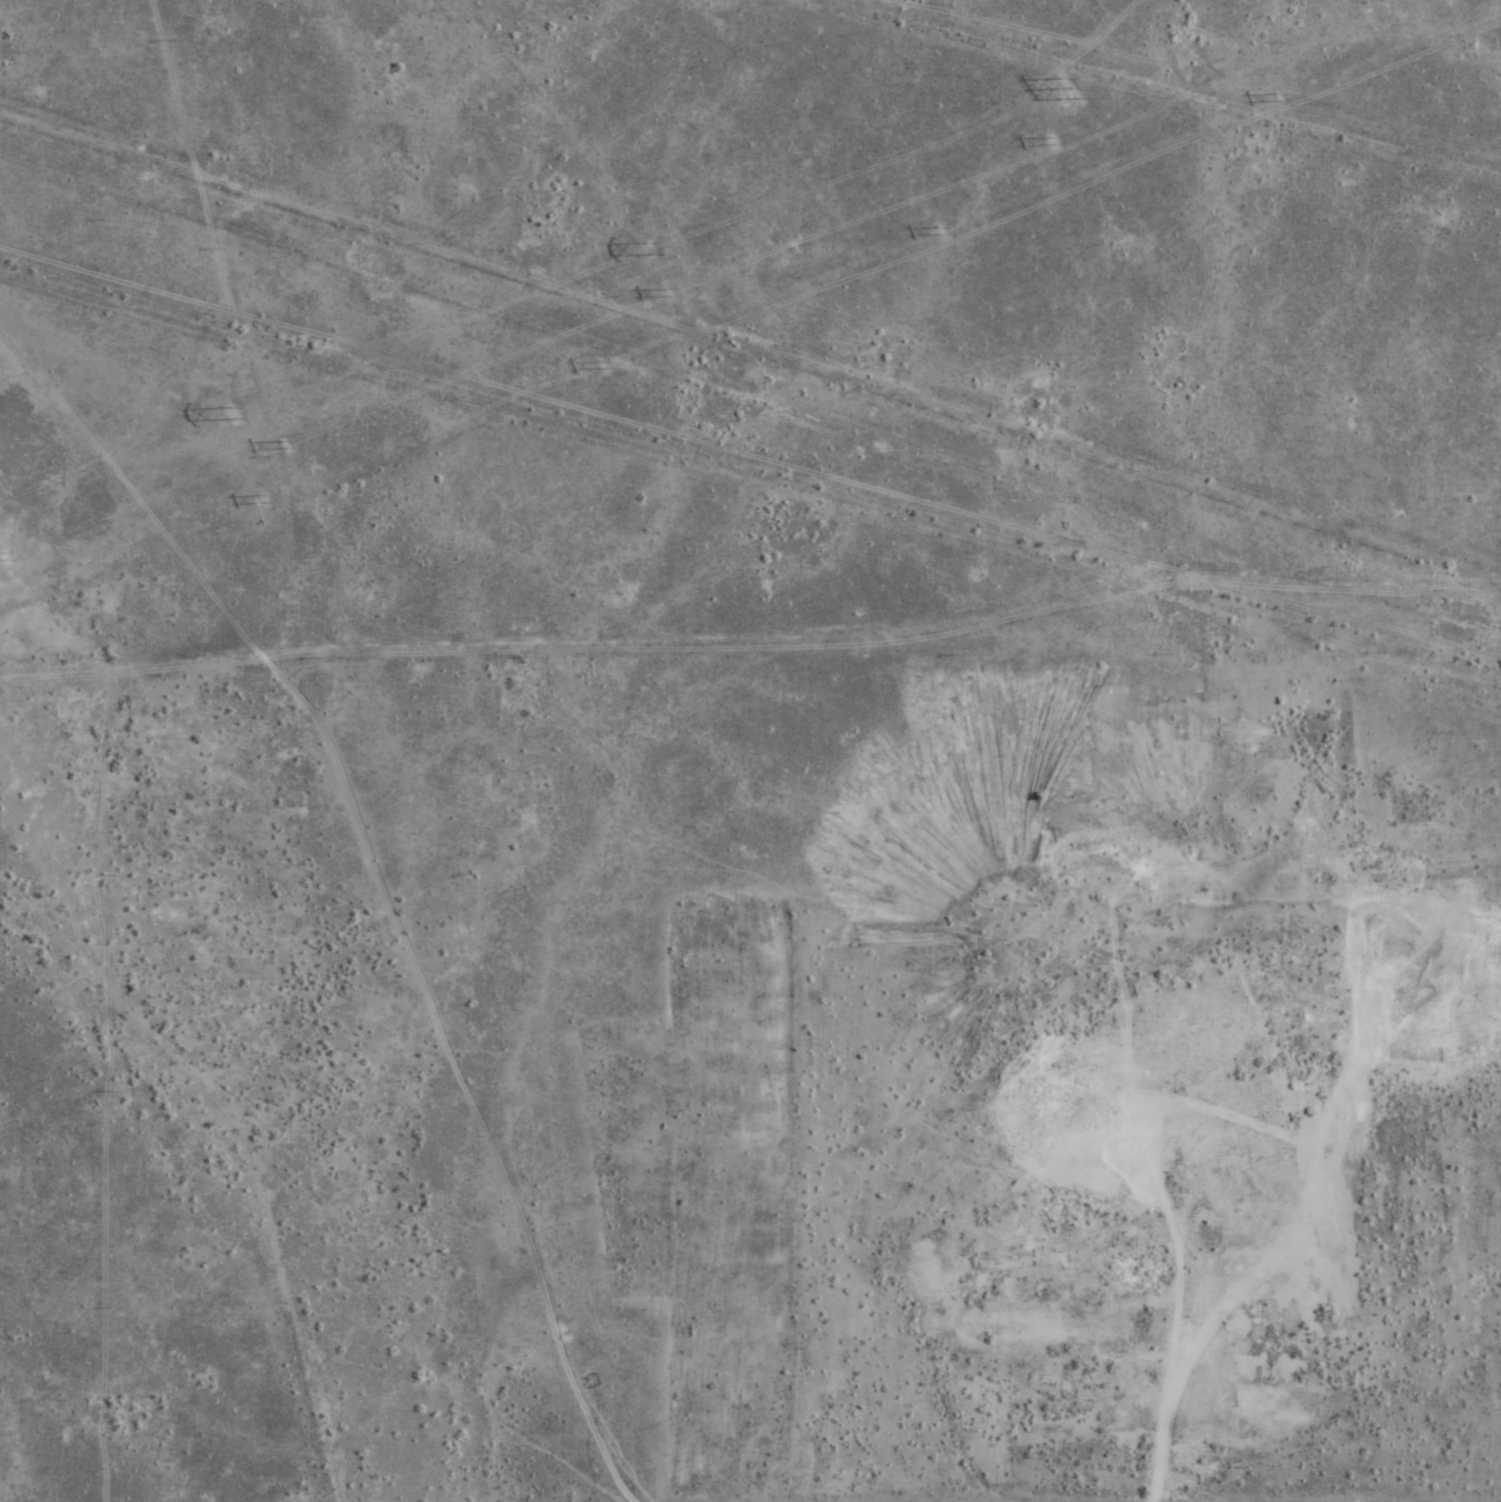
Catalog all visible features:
road: (1163, 89)
power tower: (1066, 91)
power tower: (1275, 99)
power tower: (1049, 143)
road: (117, 215)
power tower: (937, 233)
power tower: (651, 251)
power tower: (667, 293)
power tower: (600, 366)
power tower: (232, 415)
power tower: (284, 445)
power tower: (262, 501)
power tower: (2, 557)
road: (1163, 1441)

